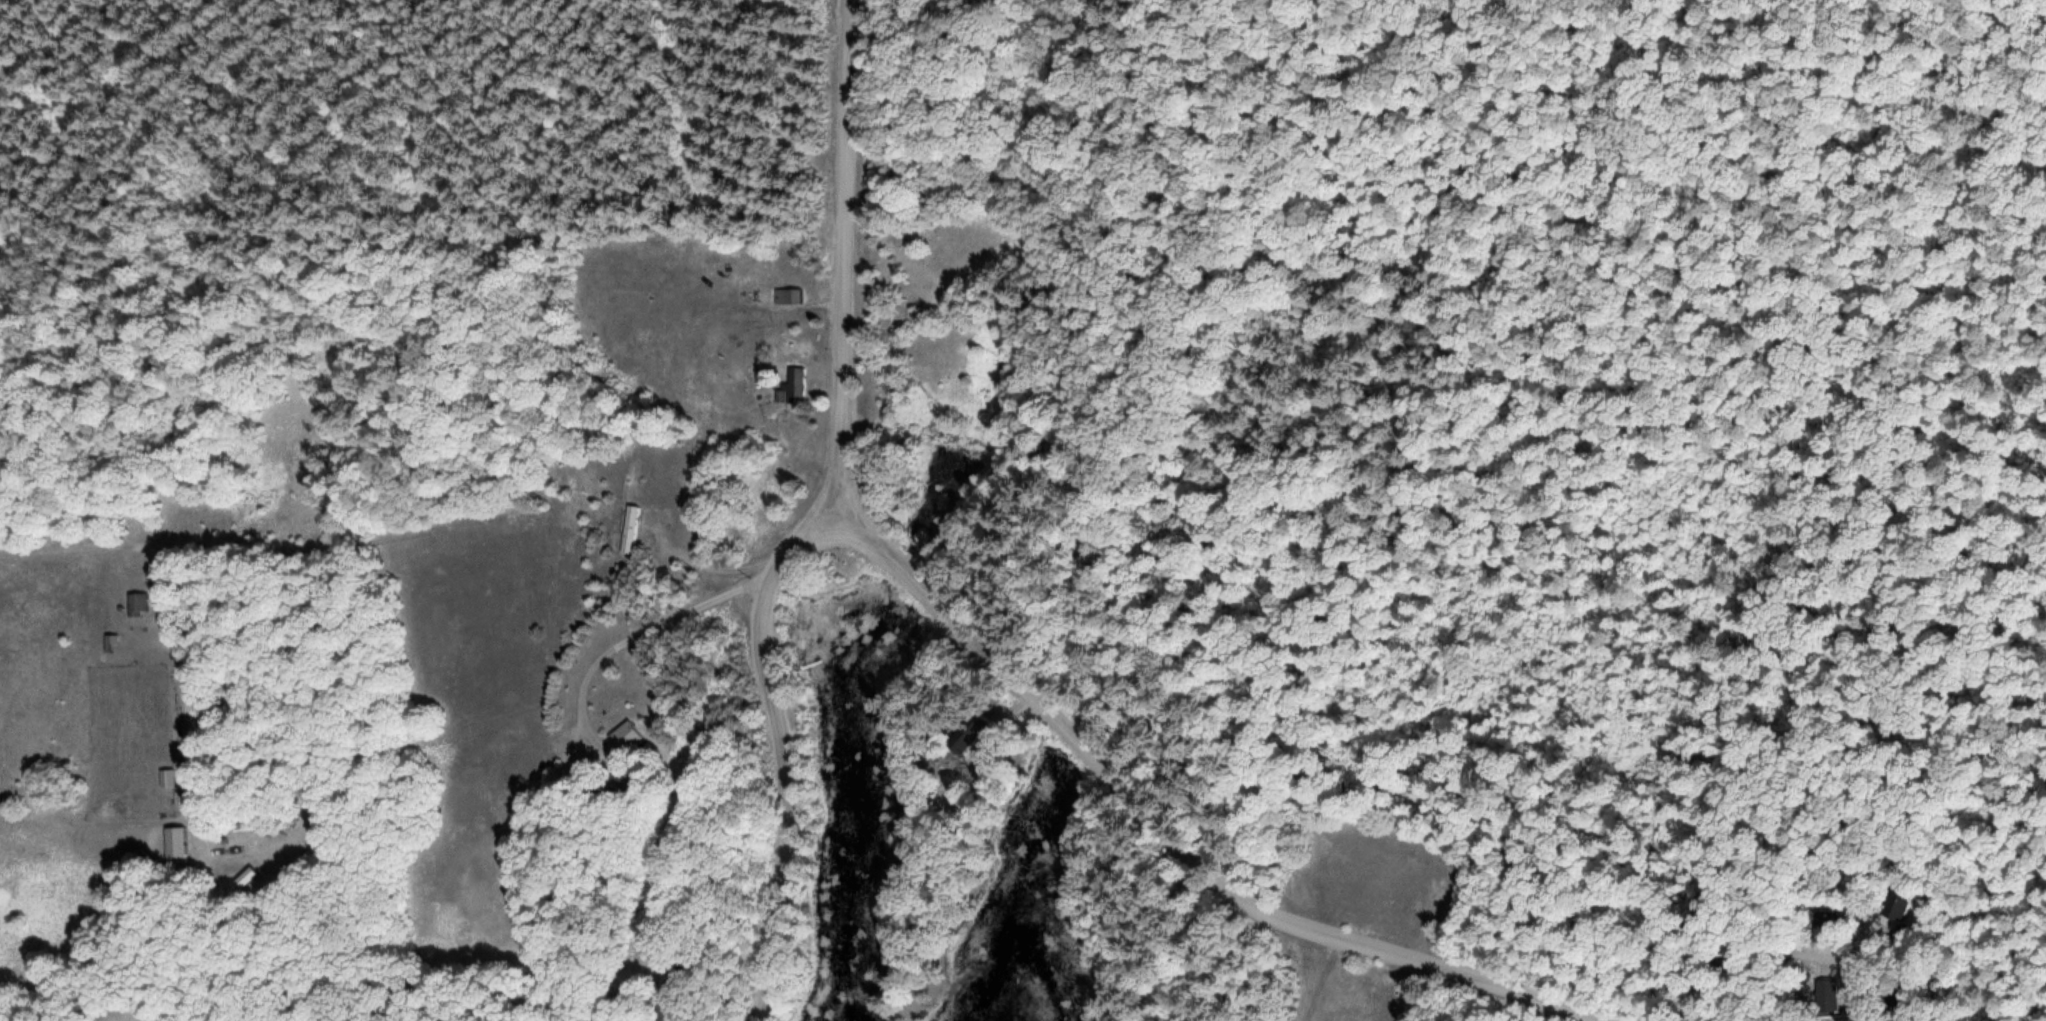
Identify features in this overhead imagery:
road: (1606, 7)
road: (1493, 8)
road: (965, 10)
road: (71, 47)
road: (1324, 82)
road: (1021, 207)
road: (838, 257)
building: (793, 297)
building: (804, 386)
building: (635, 531)
building: (143, 605)
building: (114, 643)
road: (1701, 732)
building: (638, 738)
road: (786, 746)
building: (171, 779)
road: (1175, 842)
building: (183, 846)
building: (1891, 908)
building: (1824, 926)
building: (685, 971)
building: (1826, 997)
building: (679, 1010)

